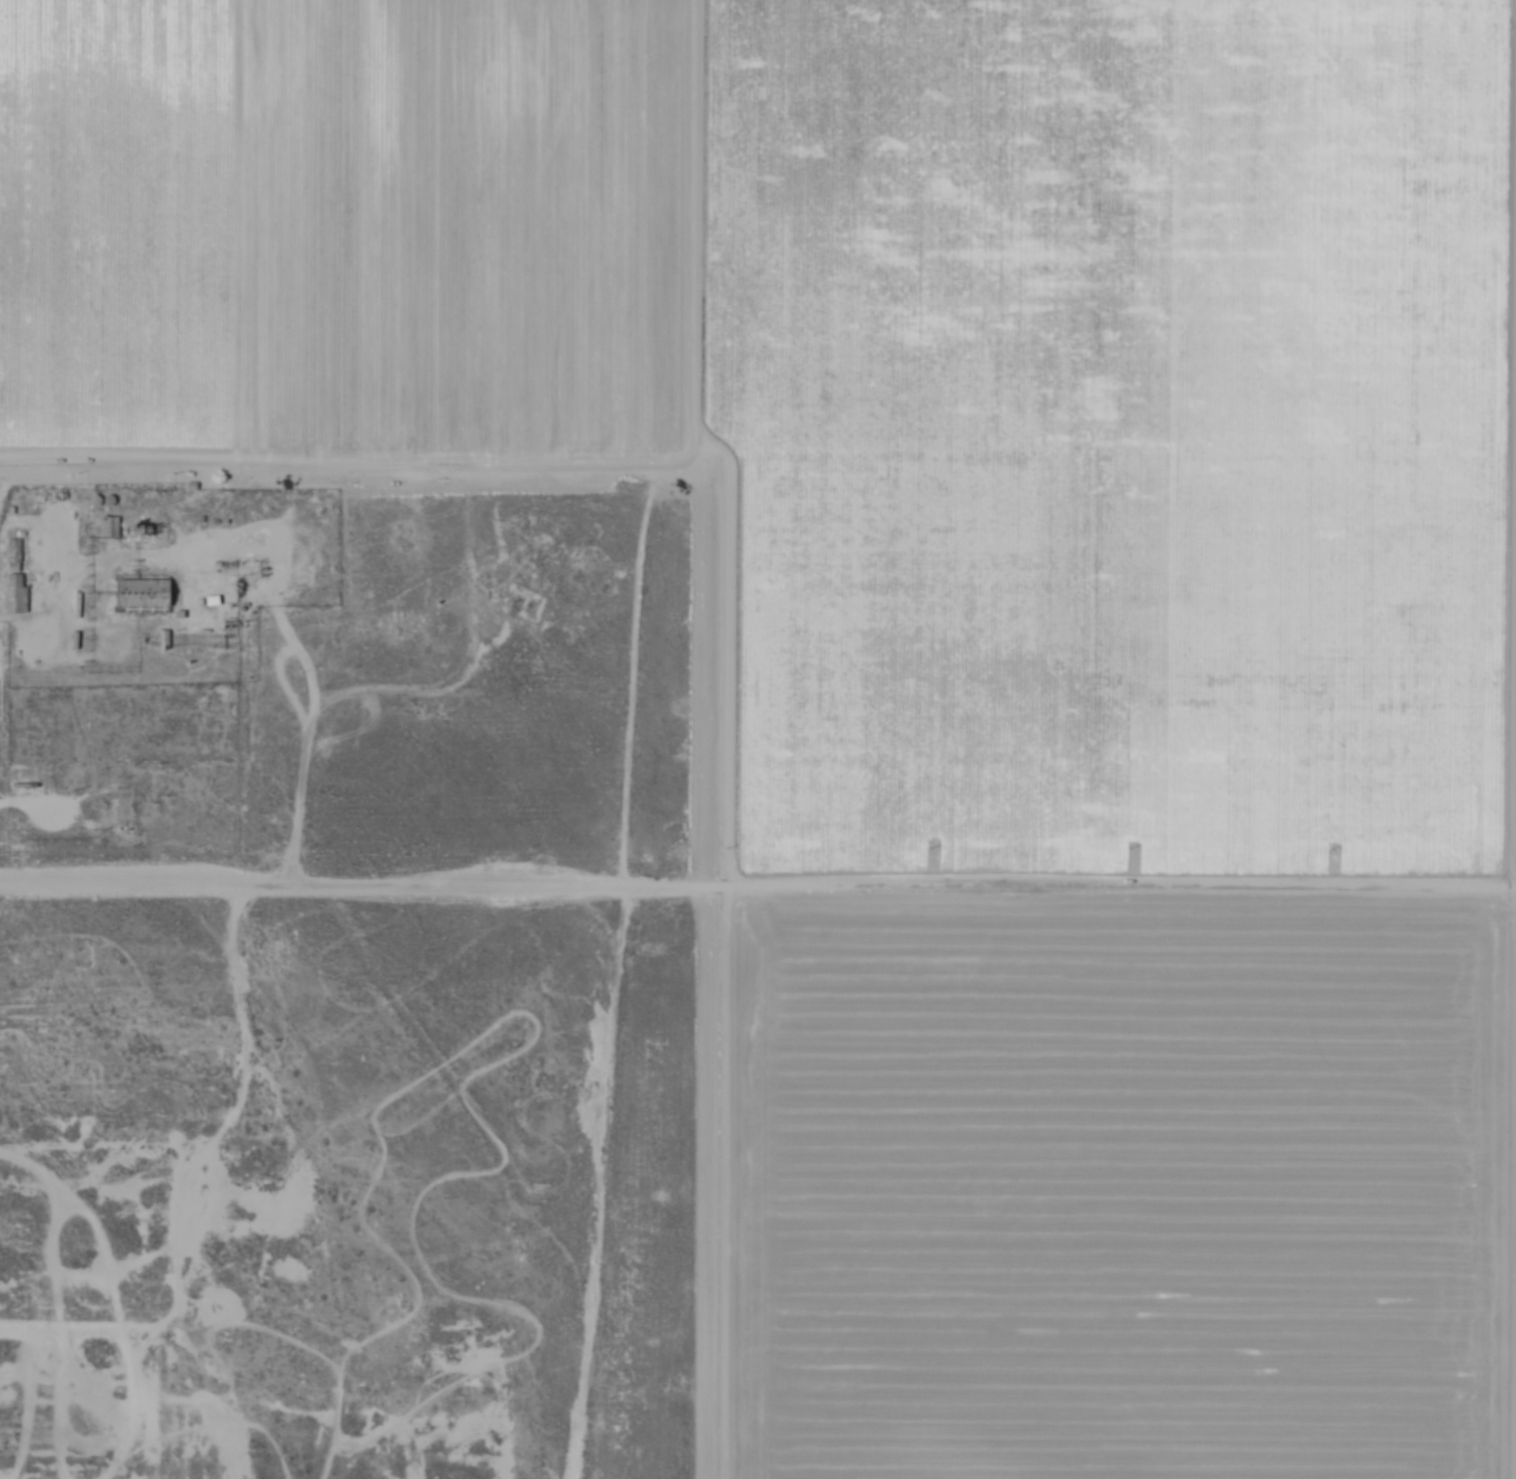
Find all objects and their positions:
crop: (1116, 224)
road: (99, 455)
building: (17, 548)
building: (20, 589)
building: (145, 592)
building: (49, 781)
crop: (687, 838)
road: (758, 876)

